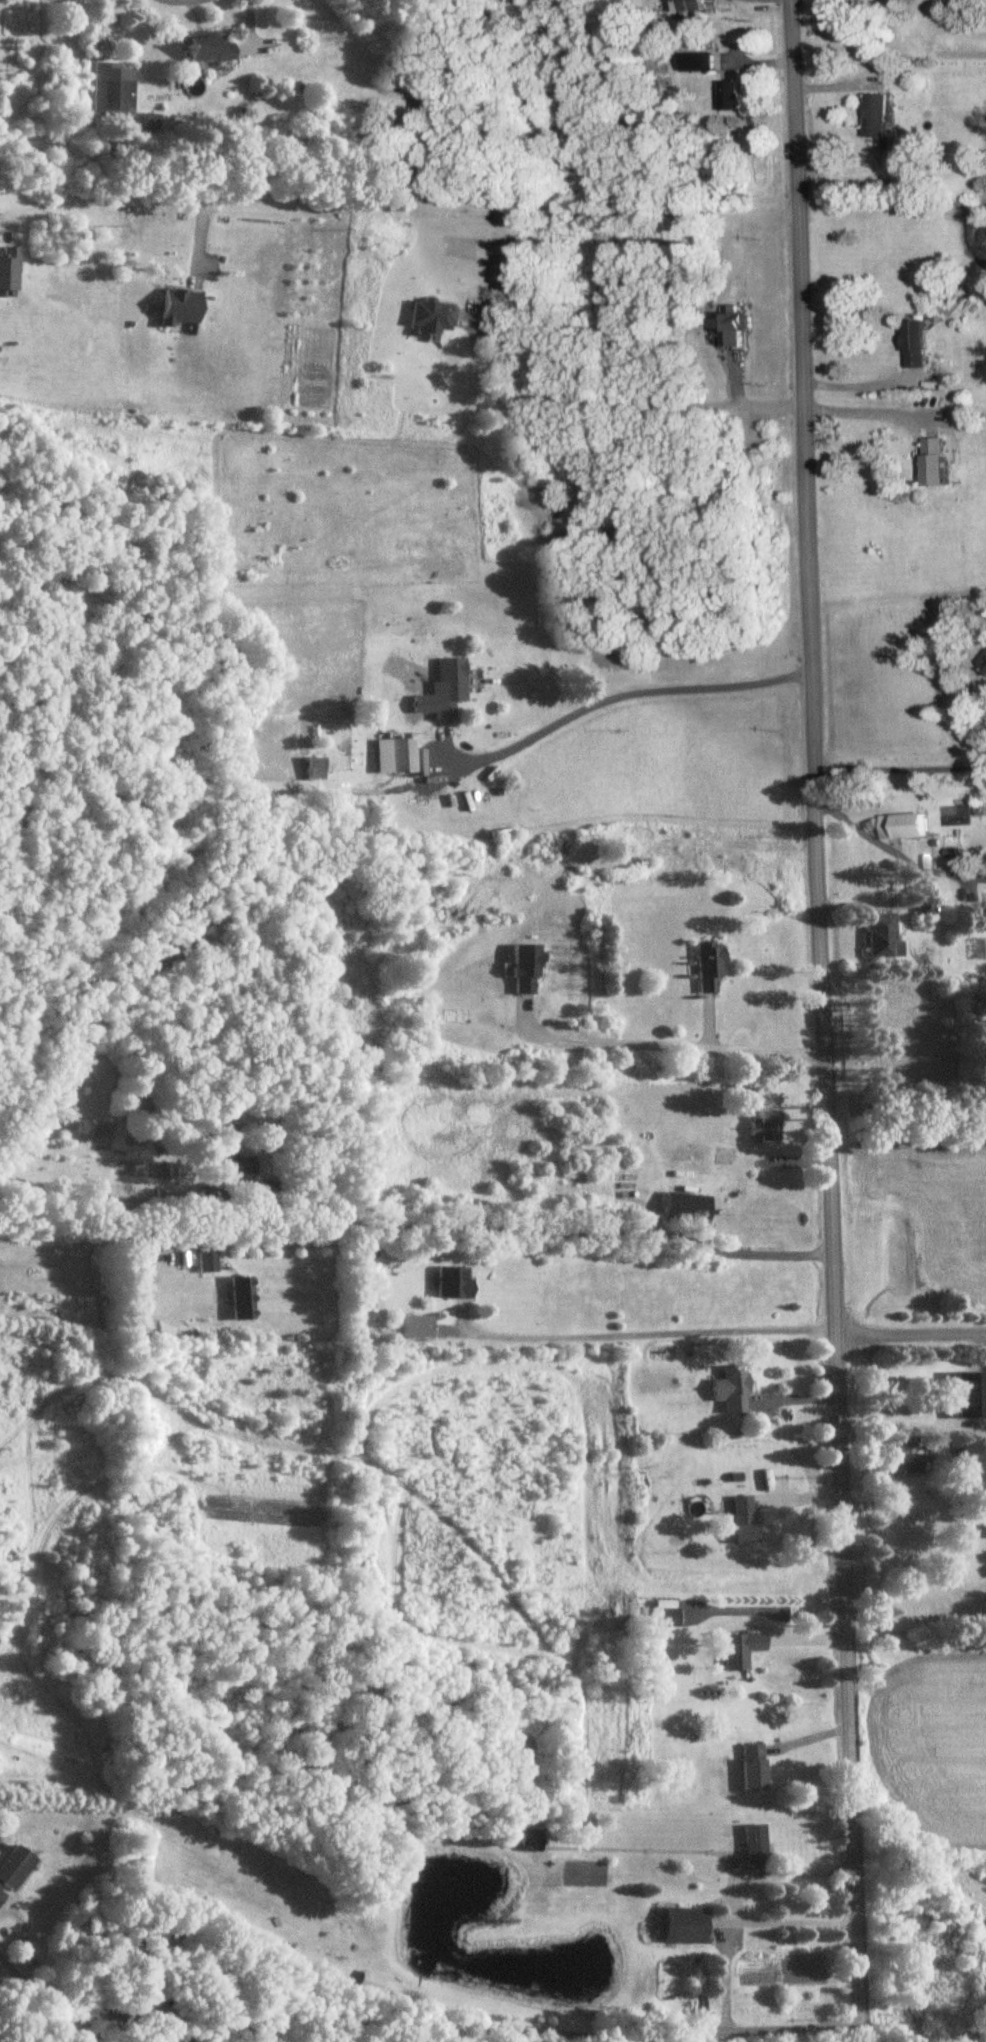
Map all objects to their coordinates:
road: (182, 0)
building: (694, 6)
building: (206, 49)
building: (706, 62)
building: (118, 96)
building: (732, 96)
building: (879, 116)
road: (401, 206)
building: (9, 270)
building: (181, 309)
building: (434, 319)
building: (733, 326)
building: (919, 345)
road: (606, 403)
road: (862, 408)
building: (937, 463)
building: (985, 665)
building: (445, 691)
road: (604, 692)
building: (402, 756)
road: (898, 769)
building: (906, 826)
building: (884, 937)
building: (709, 966)
road: (819, 1021)
road: (745, 1050)
building: (765, 1127)
building: (232, 1155)
building: (688, 1209)
road: (533, 1229)
building: (208, 1263)
building: (455, 1283)
building: (243, 1299)
road: (639, 1337)
building: (733, 1389)
building: (971, 1395)
building: (905, 1457)
building: (744, 1520)
building: (664, 1619)
building: (741, 1651)
building: (753, 1768)
building: (530, 1841)
building: (756, 1845)
building: (14, 1871)
road: (734, 1899)
building: (685, 1926)
road: (31, 1949)
building: (371, 1981)
road: (21, 1982)
road: (385, 2028)
road: (734, 2030)

